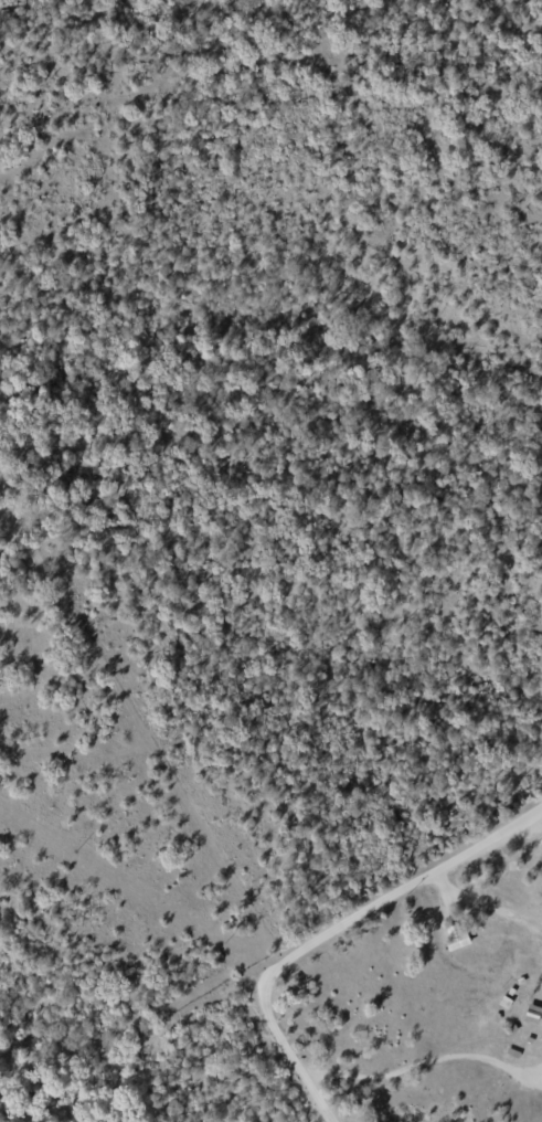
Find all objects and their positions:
road: (330, 931)
building: (455, 936)
building: (532, 1013)
road: (418, 1066)

